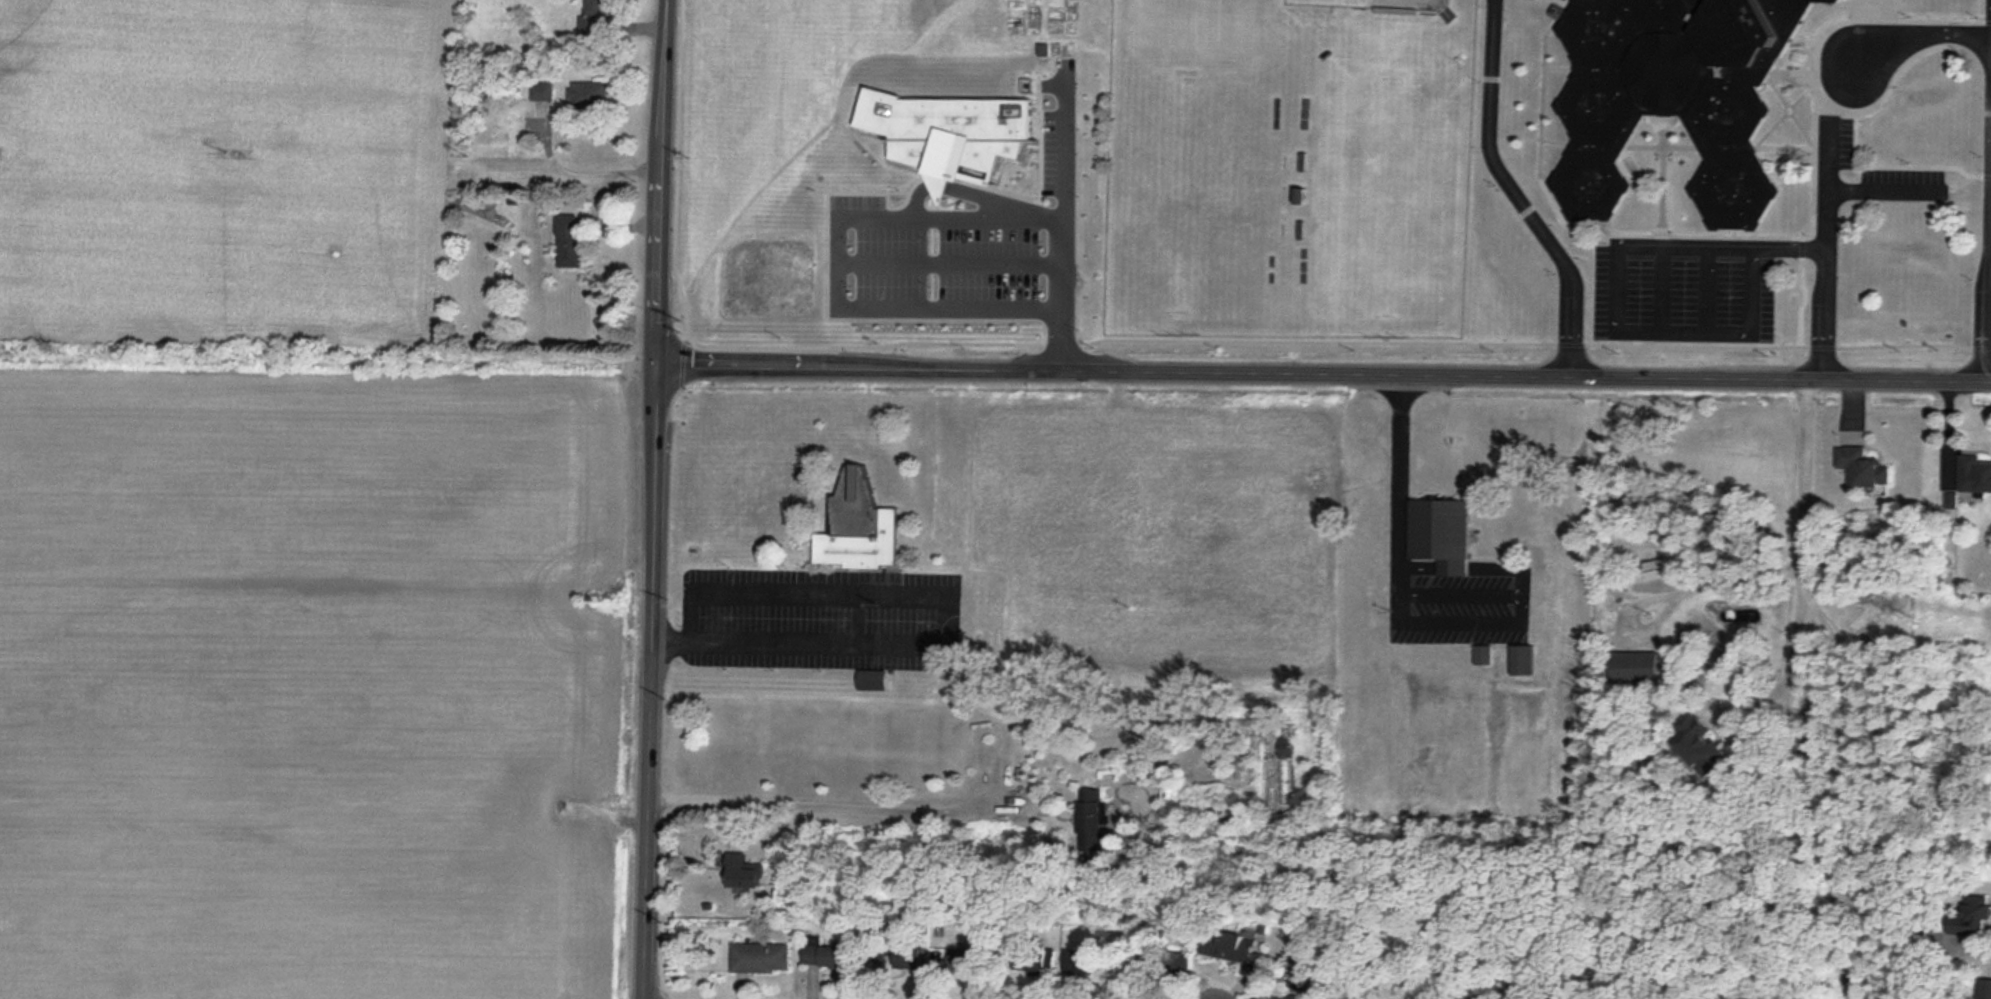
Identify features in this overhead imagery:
road: (1922, 33)
building: (588, 93)
building: (1673, 96)
building: (1090, 149)
building: (979, 169)
road: (660, 180)
road: (1990, 186)
road: (1513, 192)
road: (941, 239)
building: (569, 240)
road: (1822, 247)
road: (1988, 265)
road: (1323, 370)
building: (1863, 468)
road: (1397, 474)
building: (1974, 475)
road: (1806, 518)
building: (857, 525)
building: (1440, 535)
road: (768, 645)
building: (1522, 660)
building: (1635, 668)
road: (651, 680)
building: (1286, 744)
building: (1698, 745)
building: (1137, 765)
road: (836, 798)
road: (1828, 802)
building: (1092, 821)
building: (743, 870)
building: (1973, 918)
building: (1227, 945)
building: (824, 954)
building: (759, 958)
building: (908, 960)
building: (875, 961)
building: (1083, 962)
building: (967, 963)
building: (1171, 963)
building: (1041, 964)
building: (1013, 965)
building: (1985, 989)

